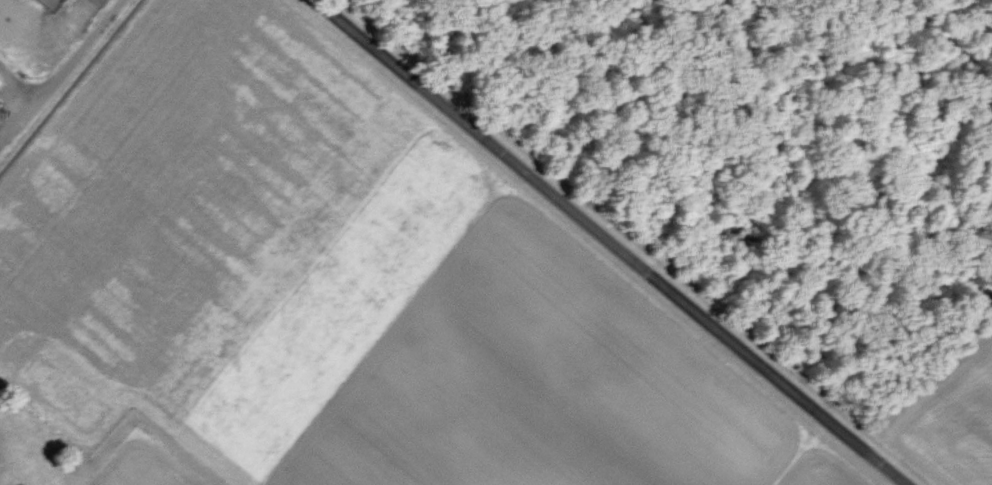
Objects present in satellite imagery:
road: (60, 72)
road: (610, 242)

